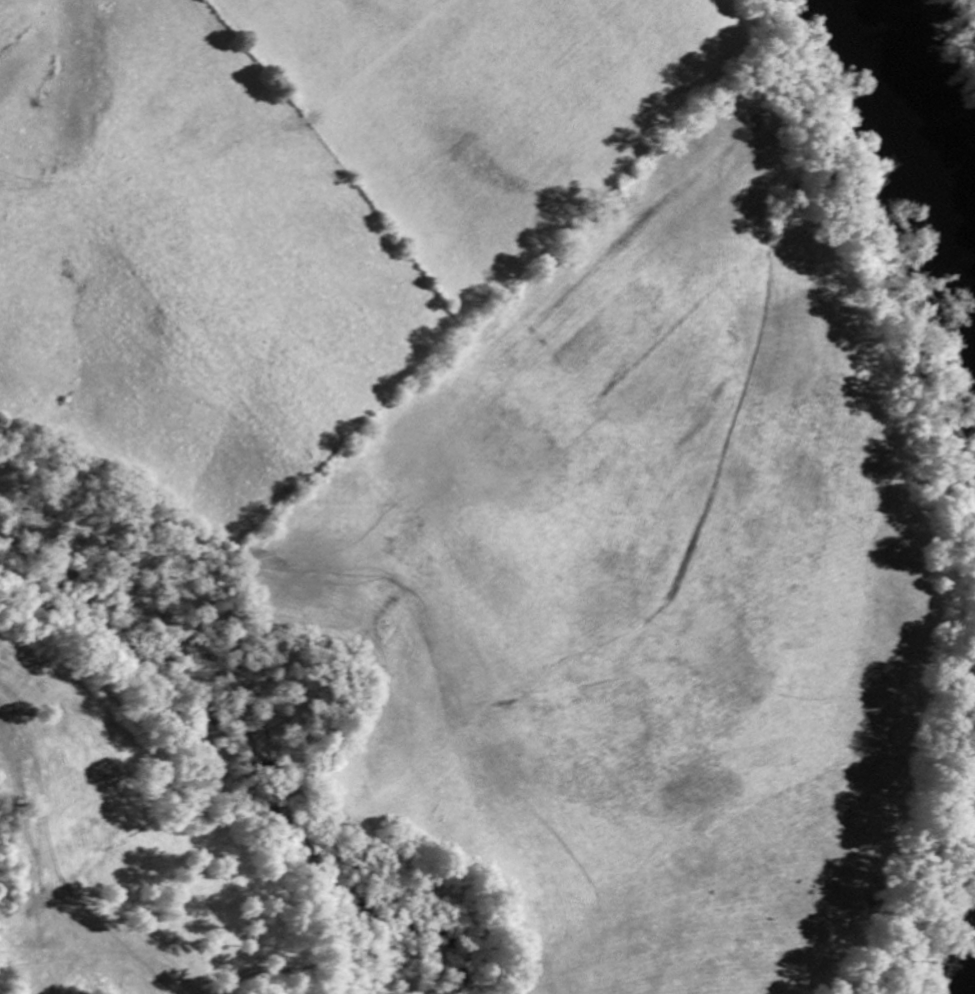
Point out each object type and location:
river: (914, 127)

